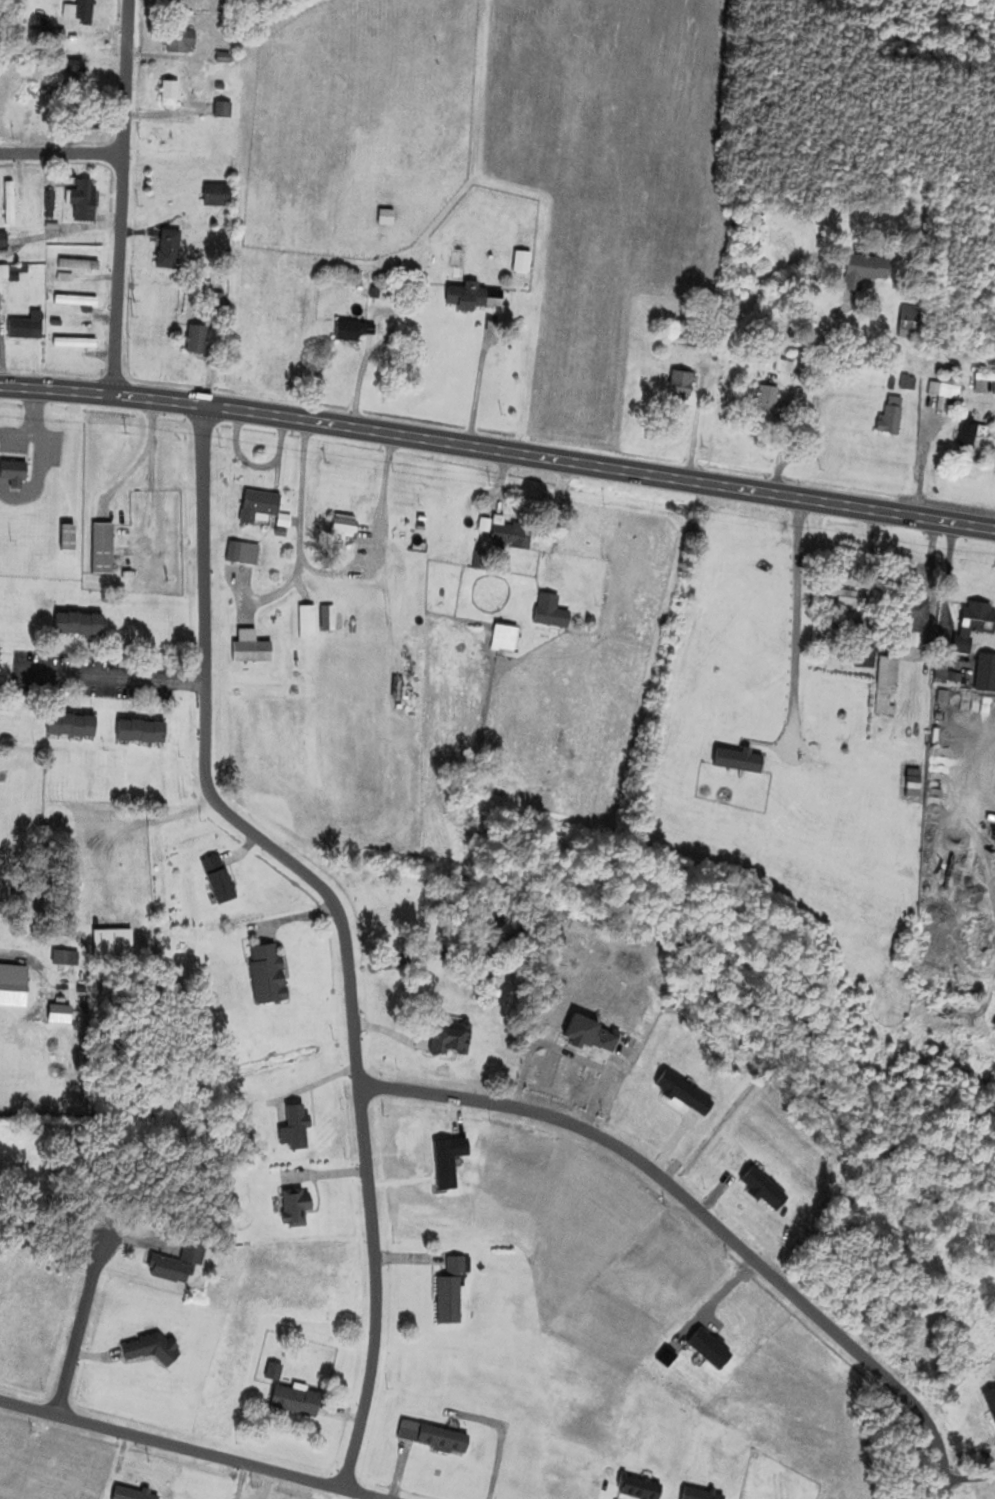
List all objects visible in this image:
building: (80, 11)
building: (182, 42)
building: (76, 67)
building: (171, 93)
building: (224, 110)
road: (62, 153)
building: (218, 195)
road: (122, 197)
building: (86, 201)
building: (10, 203)
building: (3, 243)
building: (170, 249)
building: (460, 259)
building: (75, 265)
building: (867, 271)
building: (9, 273)
building: (469, 297)
building: (77, 301)
building: (913, 322)
building: (28, 327)
building: (355, 330)
building: (197, 340)
building: (75, 343)
building: (683, 387)
road: (102, 394)
building: (943, 394)
building: (770, 401)
building: (893, 416)
building: (974, 435)
road: (600, 467)
building: (15, 474)
building: (259, 506)
building: (347, 526)
building: (513, 536)
building: (69, 538)
building: (103, 548)
building: (243, 553)
building: (842, 600)
building: (552, 611)
road: (795, 617)
building: (81, 624)
building: (918, 624)
building: (975, 628)
building: (252, 648)
building: (866, 656)
road: (113, 673)
building: (987, 674)
building: (888, 685)
building: (74, 724)
building: (144, 730)
building: (221, 878)
road: (342, 920)
building: (115, 941)
building: (67, 957)
building: (270, 974)
building: (14, 991)
building: (595, 1034)
building: (453, 1037)
building: (297, 1207)
road: (706, 1219)
building: (180, 1263)
building: (453, 1291)
road: (80, 1331)
building: (153, 1349)
building: (297, 1401)
building: (436, 1437)
road: (189, 1449)
road: (242, 1481)

